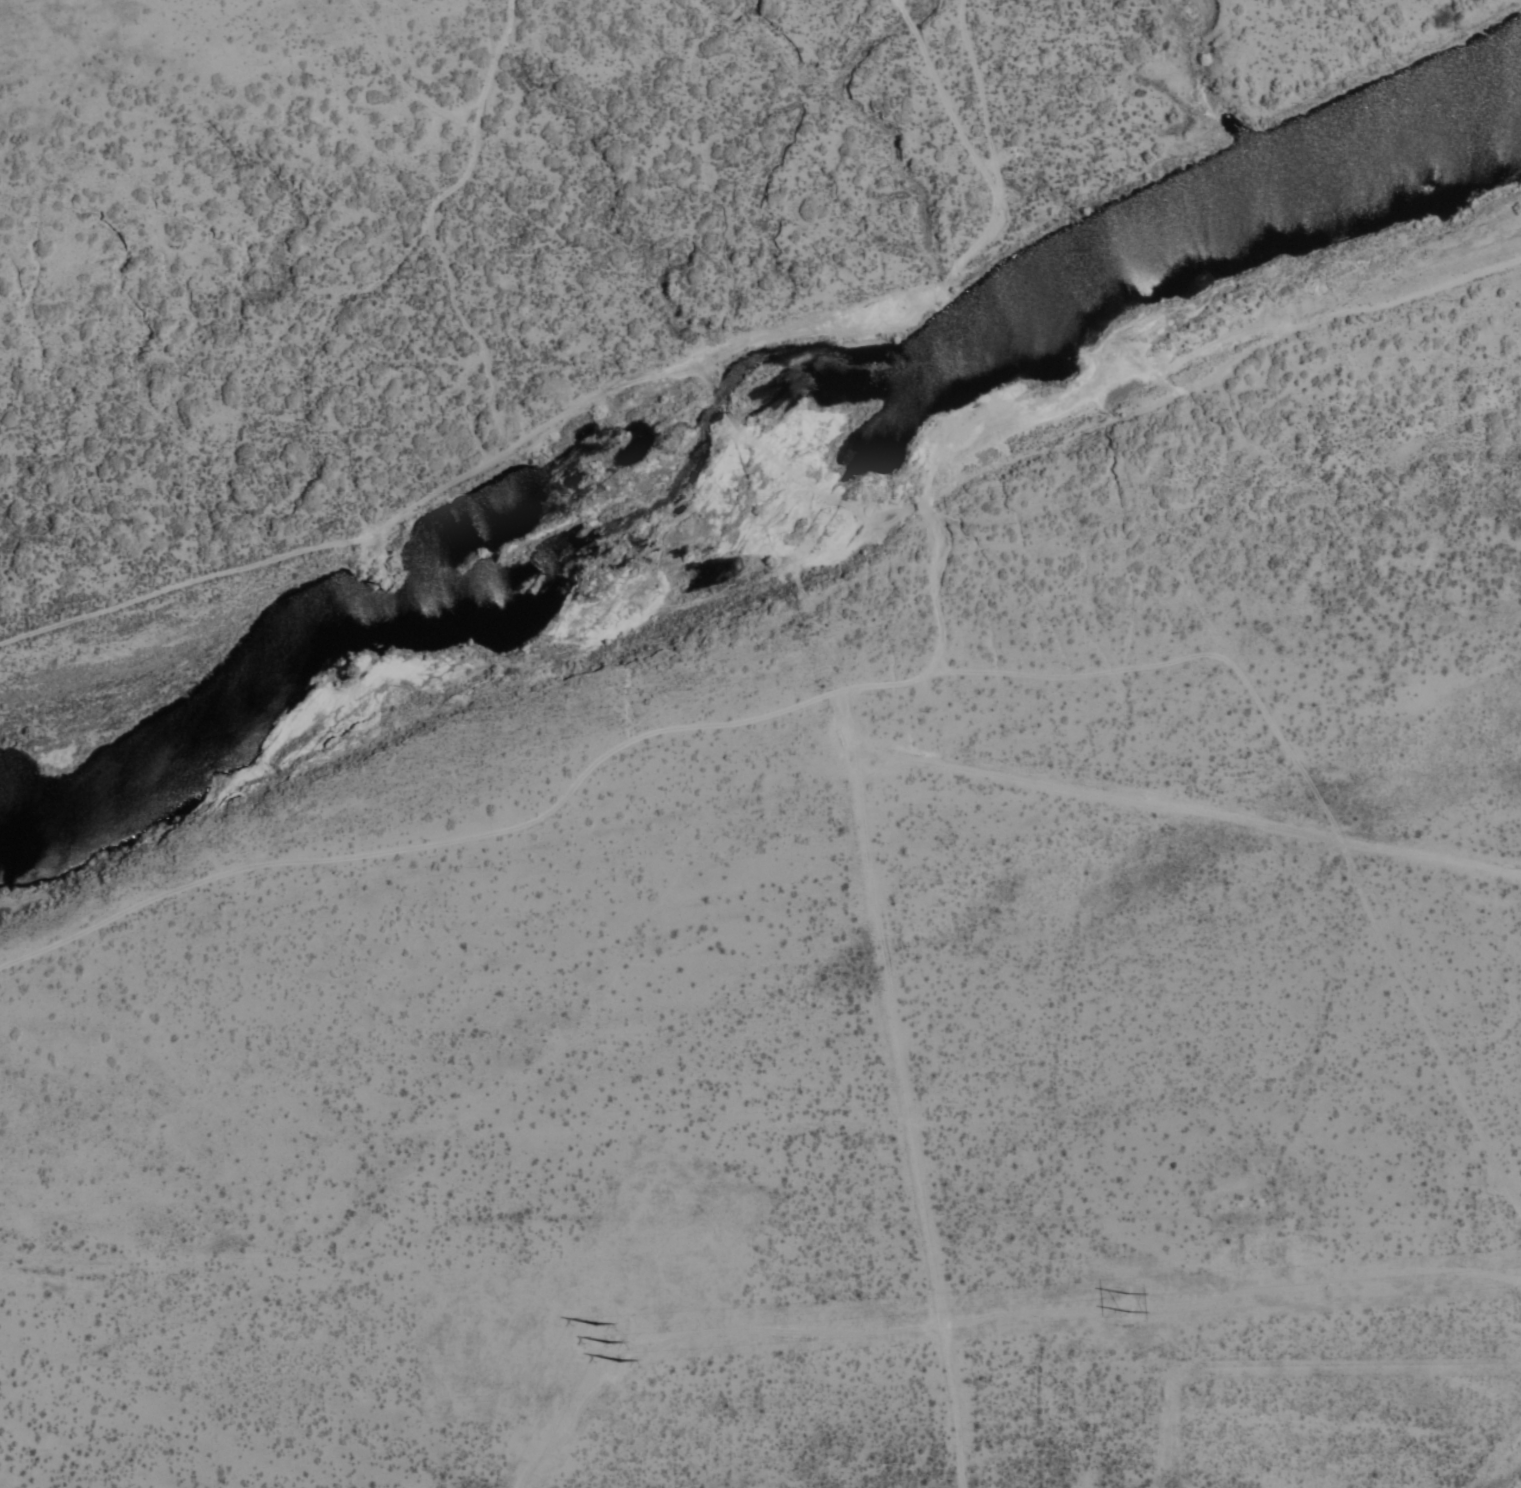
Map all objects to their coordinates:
road: (946, 100)
road: (434, 233)
road: (610, 390)
road: (1138, 410)
river: (755, 446)
road: (934, 591)
road: (897, 684)
power tower: (1125, 1303)
power tower: (602, 1345)
road: (1510, 1475)

